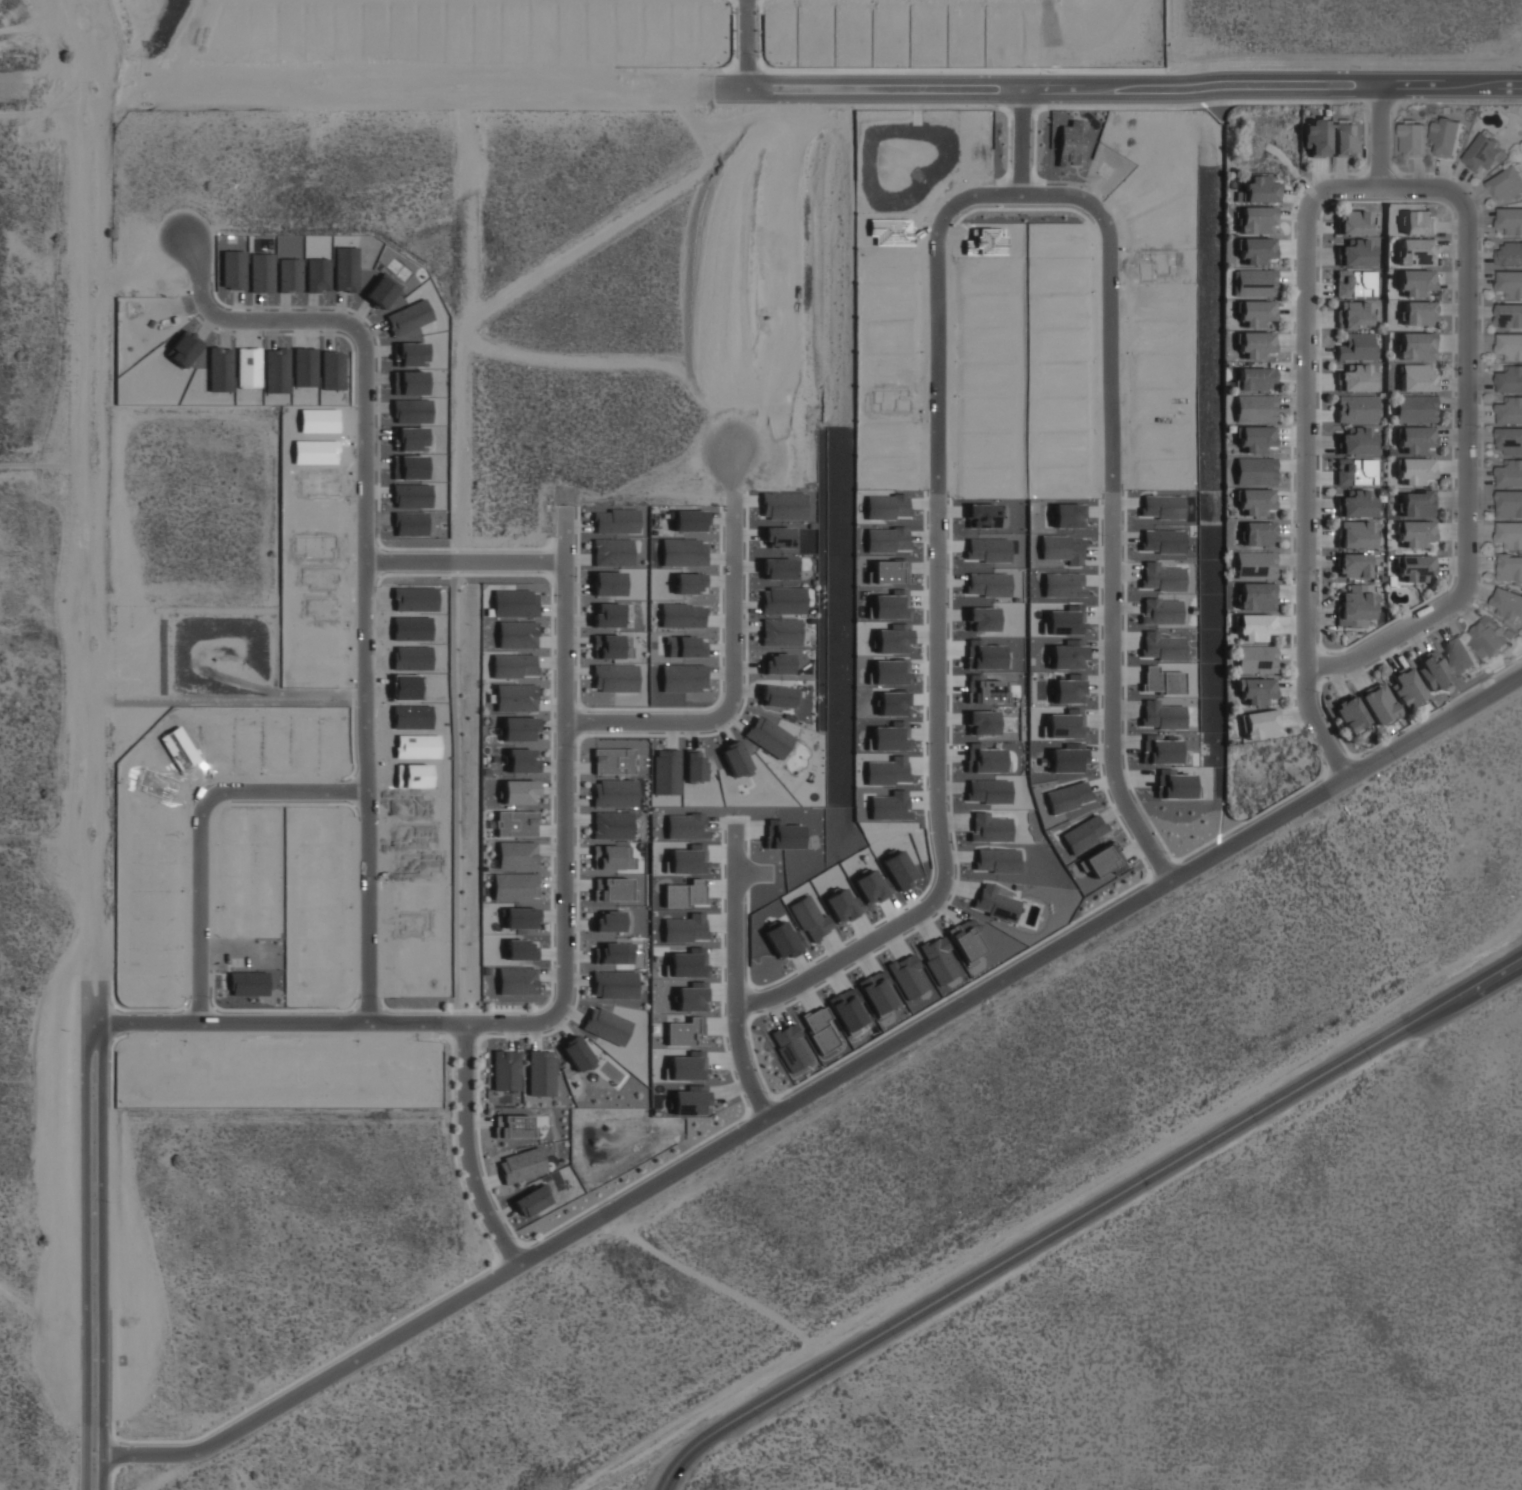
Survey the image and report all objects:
road: (760, 44)
road: (811, 87)
building: (1446, 135)
building: (1316, 136)
building: (1344, 137)
building: (1414, 138)
road: (1382, 139)
road: (1020, 140)
road: (454, 141)
road: (473, 141)
building: (1484, 153)
building: (1506, 182)
building: (1257, 189)
road: (1377, 189)
road: (324, 194)
road: (1075, 195)
road: (964, 199)
building: (1255, 219)
building: (1510, 220)
building: (1418, 221)
building: (1355, 222)
building: (1255, 250)
building: (1356, 251)
building: (1416, 251)
building: (1509, 254)
building: (1254, 281)
building: (1415, 281)
building: (1355, 283)
building: (1510, 283)
building: (1418, 312)
building: (1256, 313)
building: (1355, 313)
building: (1509, 315)
building: (1255, 344)
building: (1356, 345)
building: (1415, 345)
building: (1510, 346)
building: (1356, 377)
building: (1416, 377)
building: (1254, 378)
building: (1511, 379)
building: (1254, 407)
building: (1356, 408)
building: (1415, 408)
building: (1510, 410)
building: (1255, 438)
building: (1415, 439)
building: (1358, 440)
building: (1510, 440)
building: (1254, 470)
building: (1416, 470)
building: (1355, 471)
building: (1511, 473)
building: (1254, 500)
building: (1357, 502)
building: (1417, 502)
building: (1510, 502)
building: (783, 506)
building: (615, 521)
building: (688, 521)
building: (1258, 532)
building: (1357, 533)
building: (1416, 533)
building: (1510, 534)
building: (778, 537)
building: (612, 552)
building: (683, 553)
road: (464, 560)
building: (1254, 564)
building: (1355, 564)
road: (1106, 565)
building: (1509, 566)
building: (1416, 568)
building: (777, 569)
building: (689, 583)
building: (607, 584)
building: (1256, 595)
building: (783, 601)
building: (514, 603)
building: (1508, 603)
building: (1356, 604)
building: (607, 615)
building: (681, 616)
building: (1255, 627)
building: (780, 632)
building: (516, 635)
building: (1489, 639)
building: (891, 641)
building: (607, 646)
building: (685, 647)
road: (563, 649)
building: (1459, 654)
building: (1255, 658)
building: (777, 664)
building: (512, 666)
building: (1432, 670)
building: (889, 672)
building: (614, 678)
building: (682, 678)
road: (936, 686)
building: (1406, 686)
building: (1255, 690)
building: (777, 696)
building: (515, 698)
building: (1378, 702)
building: (892, 704)
building: (1350, 714)
building: (1258, 723)
road: (97, 725)
building: (518, 729)
building: (768, 737)
building: (890, 737)
building: (734, 759)
building: (521, 761)
building: (613, 761)
road: (1366, 765)
building: (692, 766)
building: (887, 771)
building: (665, 772)
building: (518, 792)
building: (614, 793)
building: (887, 805)
building: (612, 825)
building: (685, 826)
road: (197, 828)
building: (1083, 833)
building: (782, 835)
building: (516, 856)
building: (611, 857)
building: (688, 860)
building: (1103, 860)
building: (898, 870)
road: (748, 872)
building: (514, 887)
building: (871, 887)
building: (613, 889)
building: (684, 894)
building: (842, 906)
building: (520, 918)
building: (810, 919)
building: (608, 922)
building: (684, 928)
building: (781, 940)
building: (964, 944)
building: (520, 950)
building: (937, 959)
building: (688, 963)
building: (906, 976)
road: (734, 978)
building: (516, 981)
building: (614, 984)
building: (876, 992)
building: (691, 997)
building: (847, 1010)
road: (281, 1022)
building: (606, 1026)
building: (818, 1029)
building: (685, 1031)
road: (905, 1036)
building: (789, 1046)
building: (576, 1054)
building: (688, 1066)
building: (505, 1070)
building: (540, 1073)
building: (689, 1100)
building: (513, 1127)
road: (466, 1145)
building: (521, 1165)
building: (531, 1201)
building: (543, 1209)
road: (1085, 1214)
road: (353, 1359)
road: (89, 1470)
road: (101, 1470)

